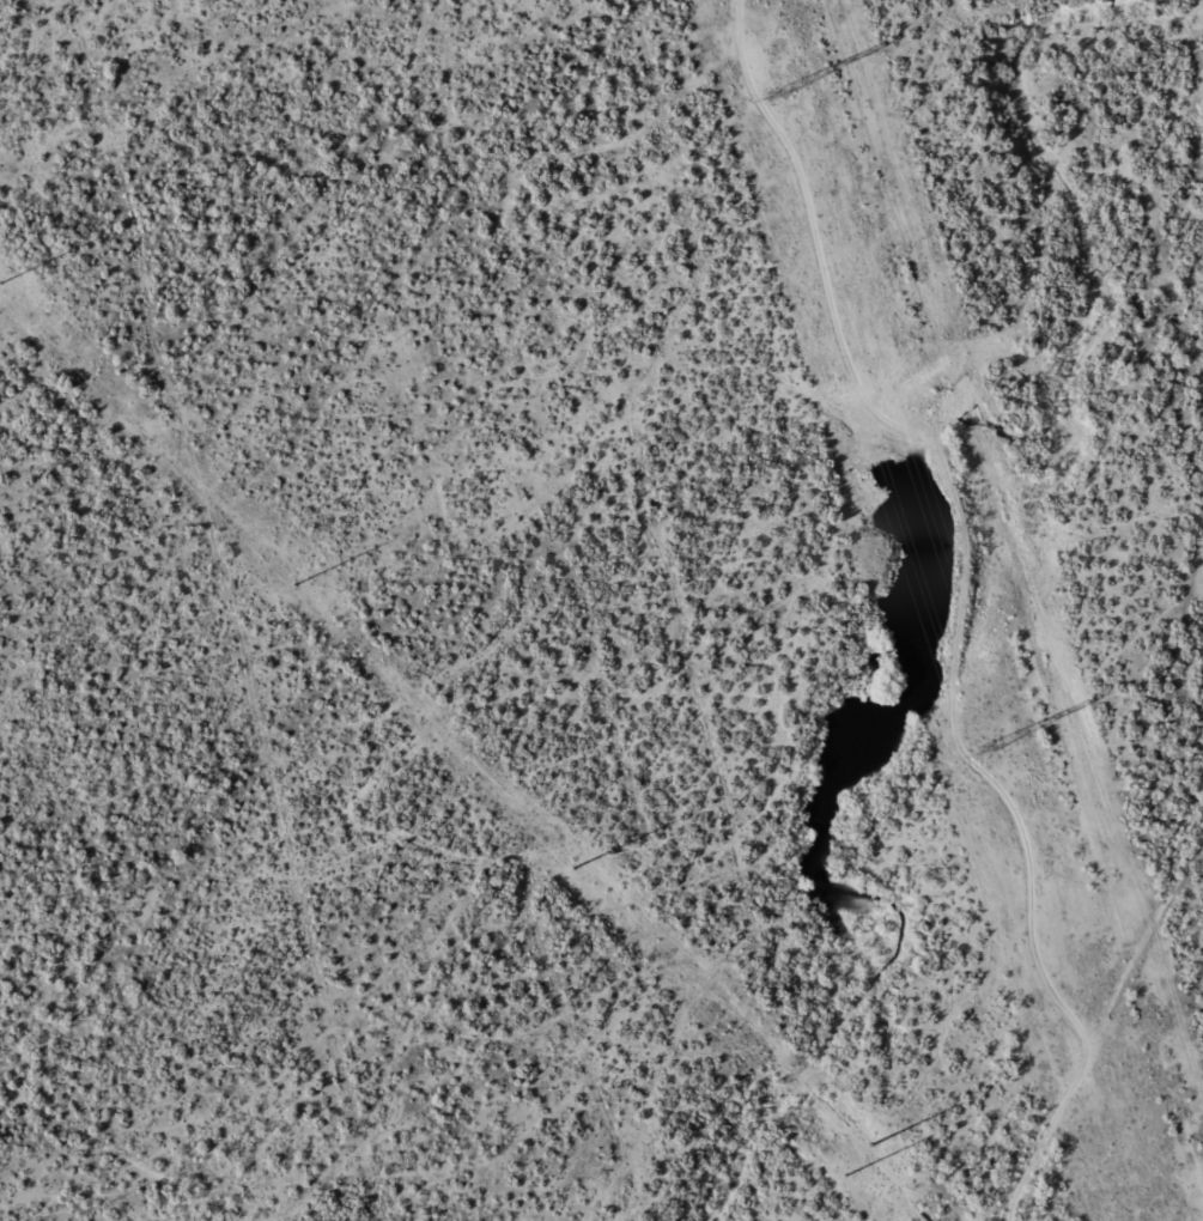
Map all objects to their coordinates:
power tower: (779, 96)
power tower: (6, 286)
power tower: (300, 587)
power tower: (982, 752)
power tower: (572, 868)
road: (1108, 1027)
power tower: (877, 1148)
power tower: (850, 1178)

